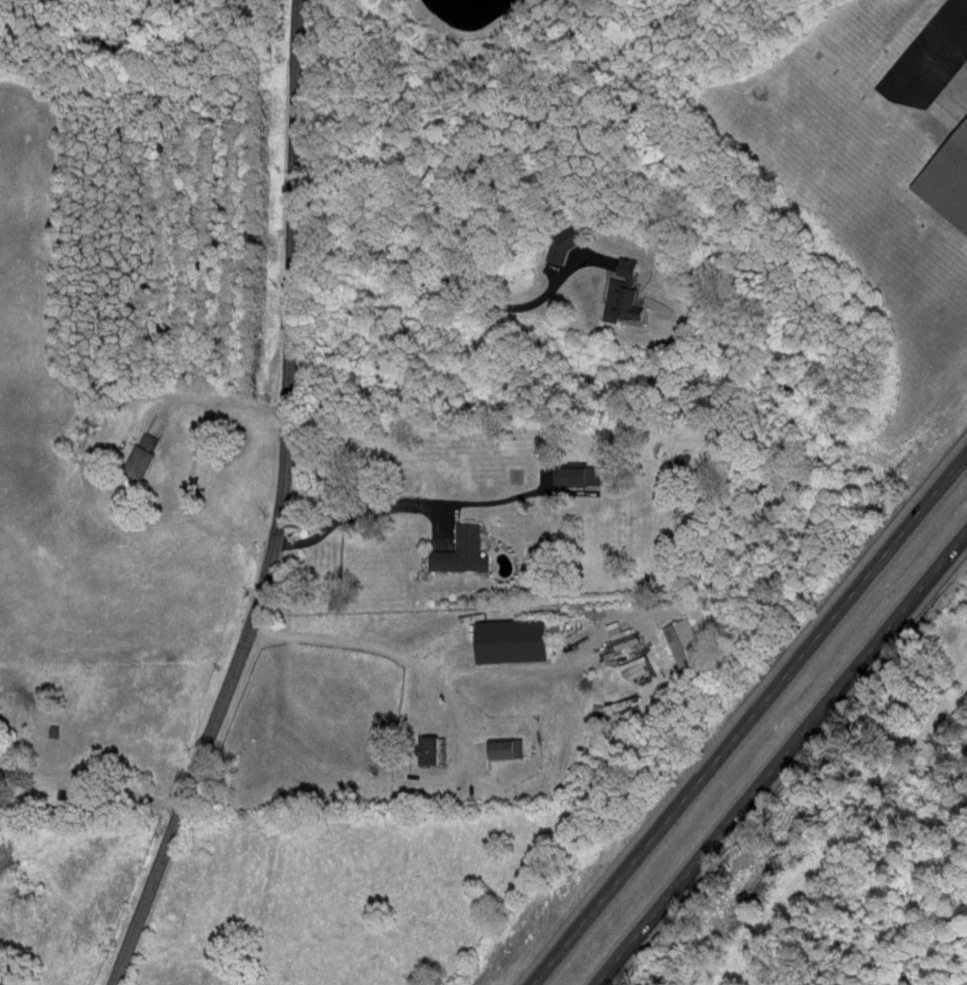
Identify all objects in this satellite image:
road: (931, 50)
building: (949, 180)
road: (459, 287)
building: (625, 292)
road: (205, 397)
building: (143, 456)
building: (580, 475)
road: (400, 503)
road: (278, 507)
building: (461, 551)
building: (513, 640)
building: (681, 649)
road: (379, 650)
road: (748, 718)
building: (506, 748)
building: (432, 750)
road: (780, 757)
road: (91, 776)

